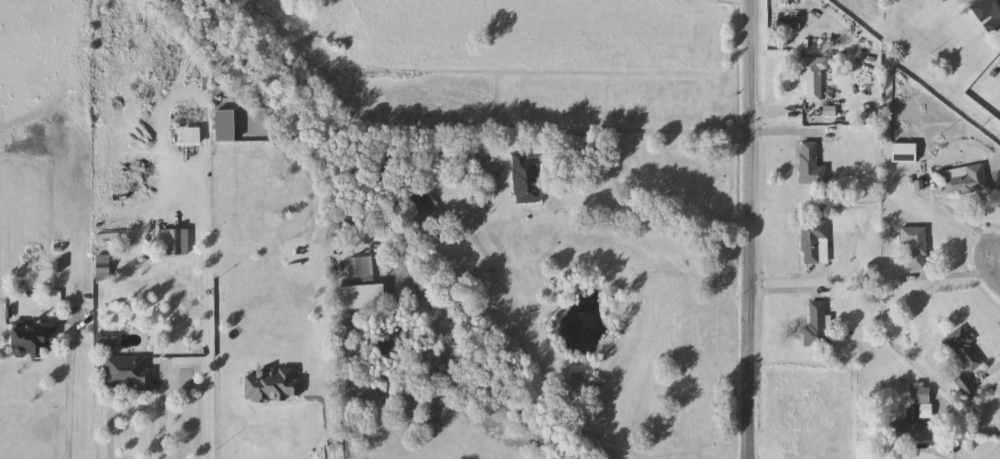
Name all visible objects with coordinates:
road: (965, 1)
road: (733, 4)
building: (989, 14)
building: (813, 78)
road: (778, 119)
power tower: (984, 120)
road: (632, 128)
road: (778, 136)
building: (189, 137)
building: (811, 164)
building: (527, 178)
building: (965, 180)
building: (418, 201)
road: (743, 229)
road: (973, 230)
building: (175, 242)
building: (814, 242)
building: (916, 245)
building: (449, 250)
building: (359, 267)
building: (104, 268)
road: (954, 277)
road: (783, 279)
road: (783, 294)
road: (206, 307)
building: (818, 325)
building: (35, 337)
building: (964, 348)
building: (130, 372)
road: (991, 374)
building: (966, 386)
road: (69, 392)
road: (134, 411)
building: (913, 413)
road: (328, 423)
road: (953, 430)
road: (931, 455)

